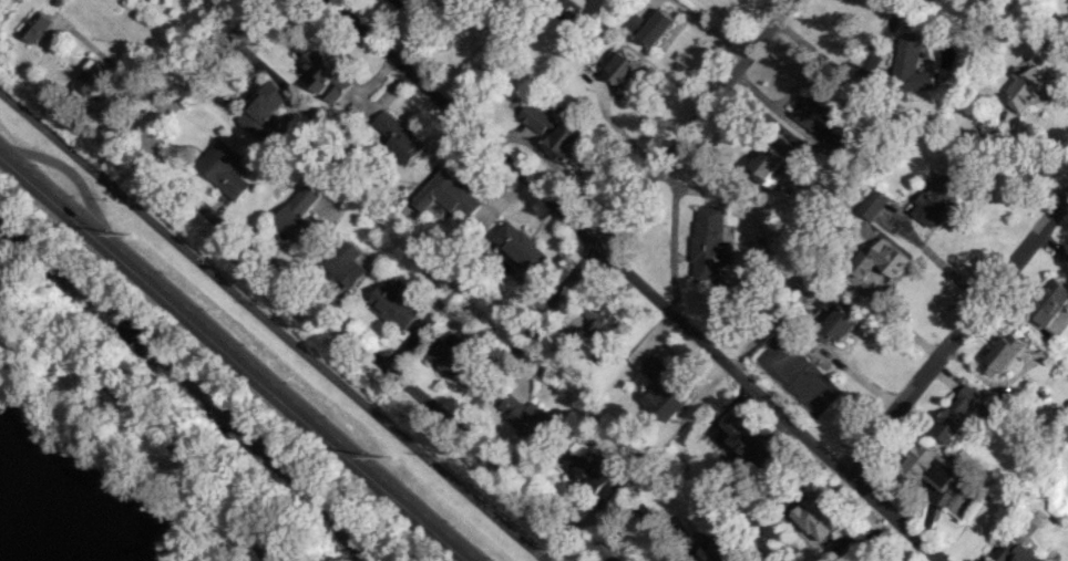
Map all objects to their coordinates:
road: (708, 25)
building: (34, 27)
building: (651, 27)
building: (912, 64)
building: (622, 69)
building: (325, 75)
road: (849, 75)
building: (91, 82)
building: (1024, 87)
building: (264, 111)
building: (823, 117)
building: (535, 118)
building: (398, 137)
building: (563, 141)
building: (772, 162)
building: (224, 168)
building: (448, 194)
building: (936, 200)
building: (873, 204)
road: (619, 211)
building: (298, 215)
building: (711, 243)
building: (522, 247)
building: (883, 259)
building: (1066, 259)
building: (346, 263)
road: (634, 278)
road: (306, 294)
building: (1048, 302)
building: (397, 307)
building: (828, 309)
building: (600, 323)
building: (841, 324)
road: (269, 326)
road: (956, 332)
building: (1003, 354)
building: (450, 355)
road: (233, 359)
building: (664, 389)
building: (955, 415)
road: (137, 416)
building: (526, 419)
park: (150, 427)
building: (746, 441)
building: (928, 467)
building: (591, 478)
building: (817, 519)
building: (719, 550)

